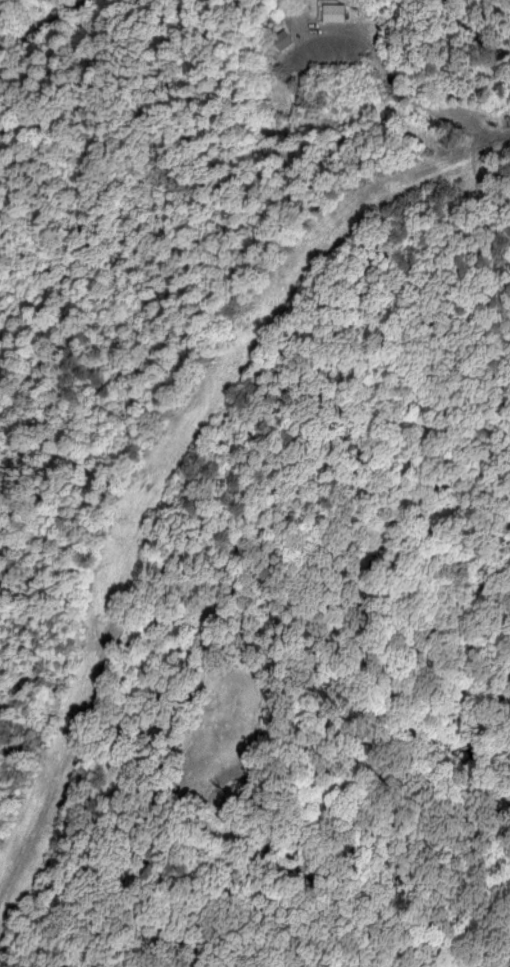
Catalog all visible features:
road: (285, 11)
road: (50, 23)

